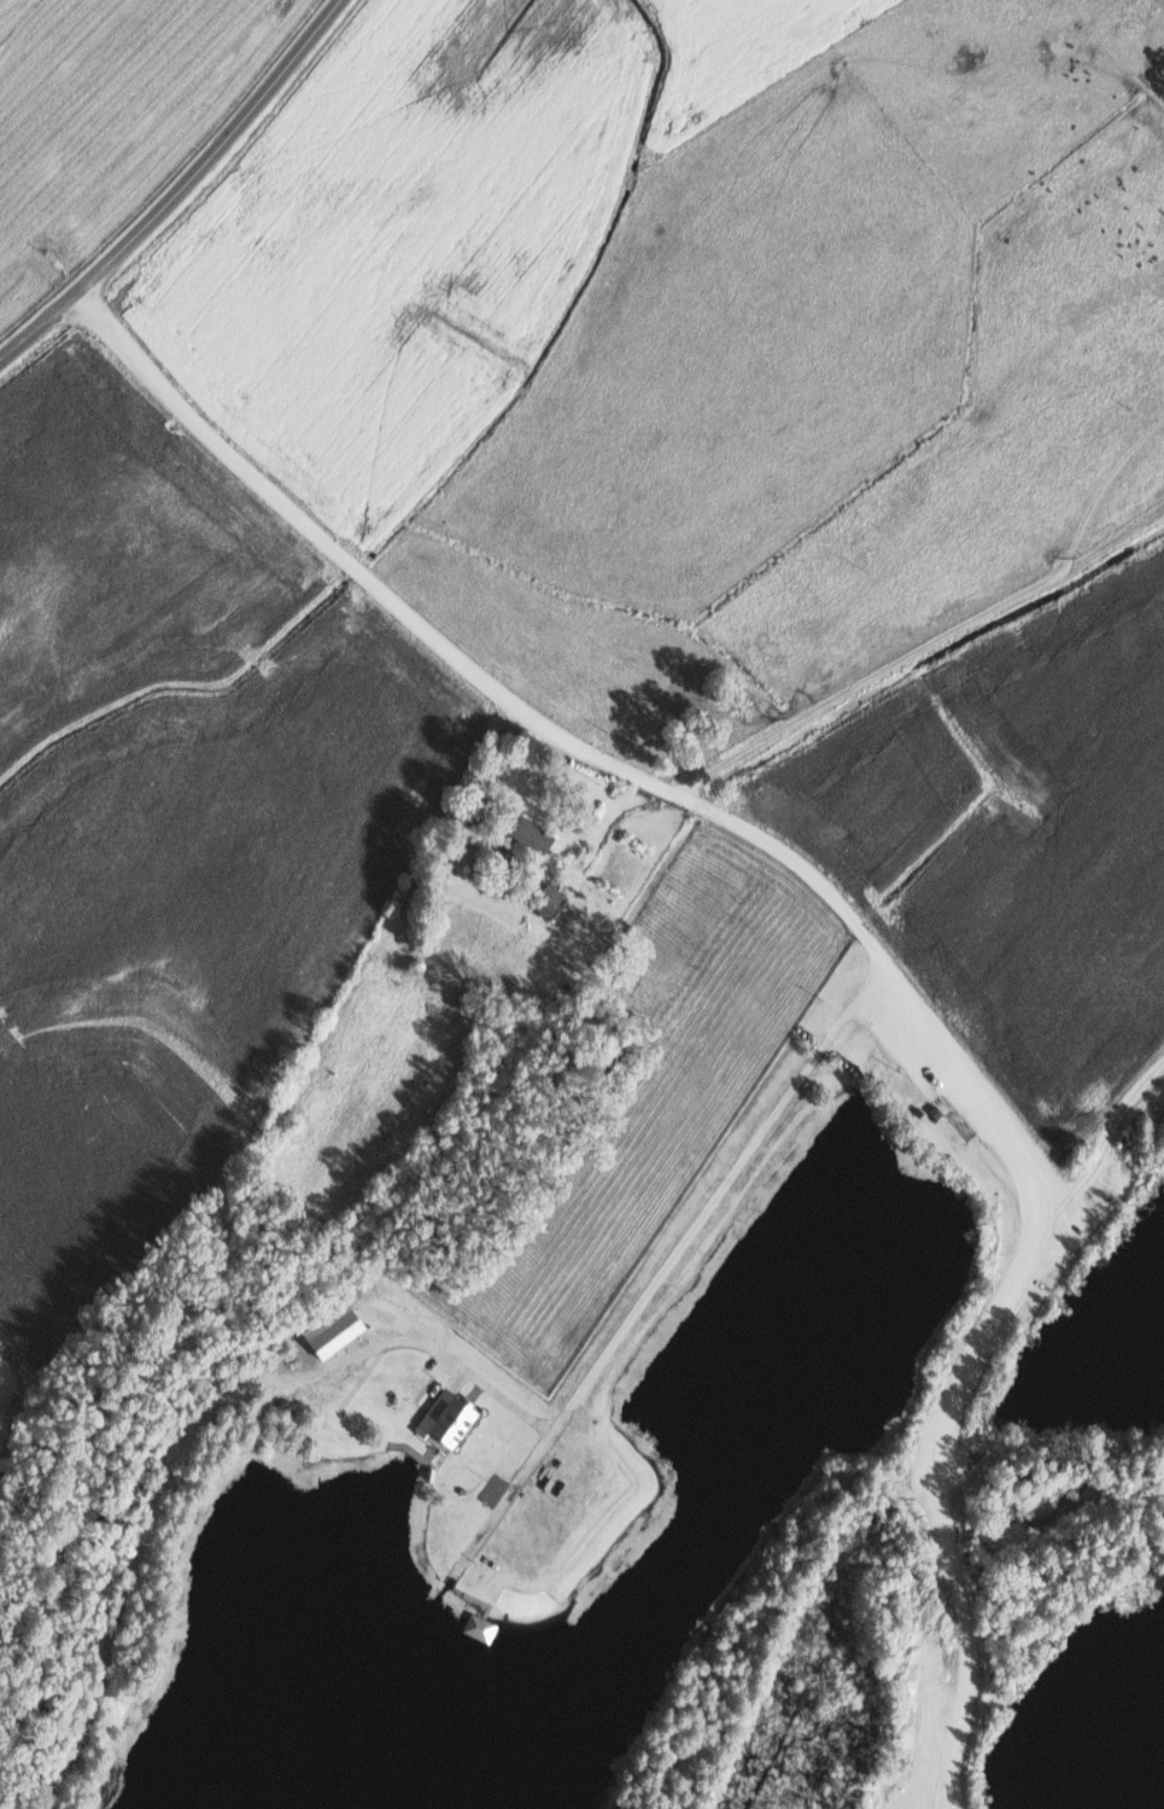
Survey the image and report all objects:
road: (181, 191)
road: (619, 768)
building: (527, 831)
building: (550, 900)
road: (695, 1225)
building: (335, 1334)
road: (426, 1346)
building: (445, 1418)
building: (479, 1627)

